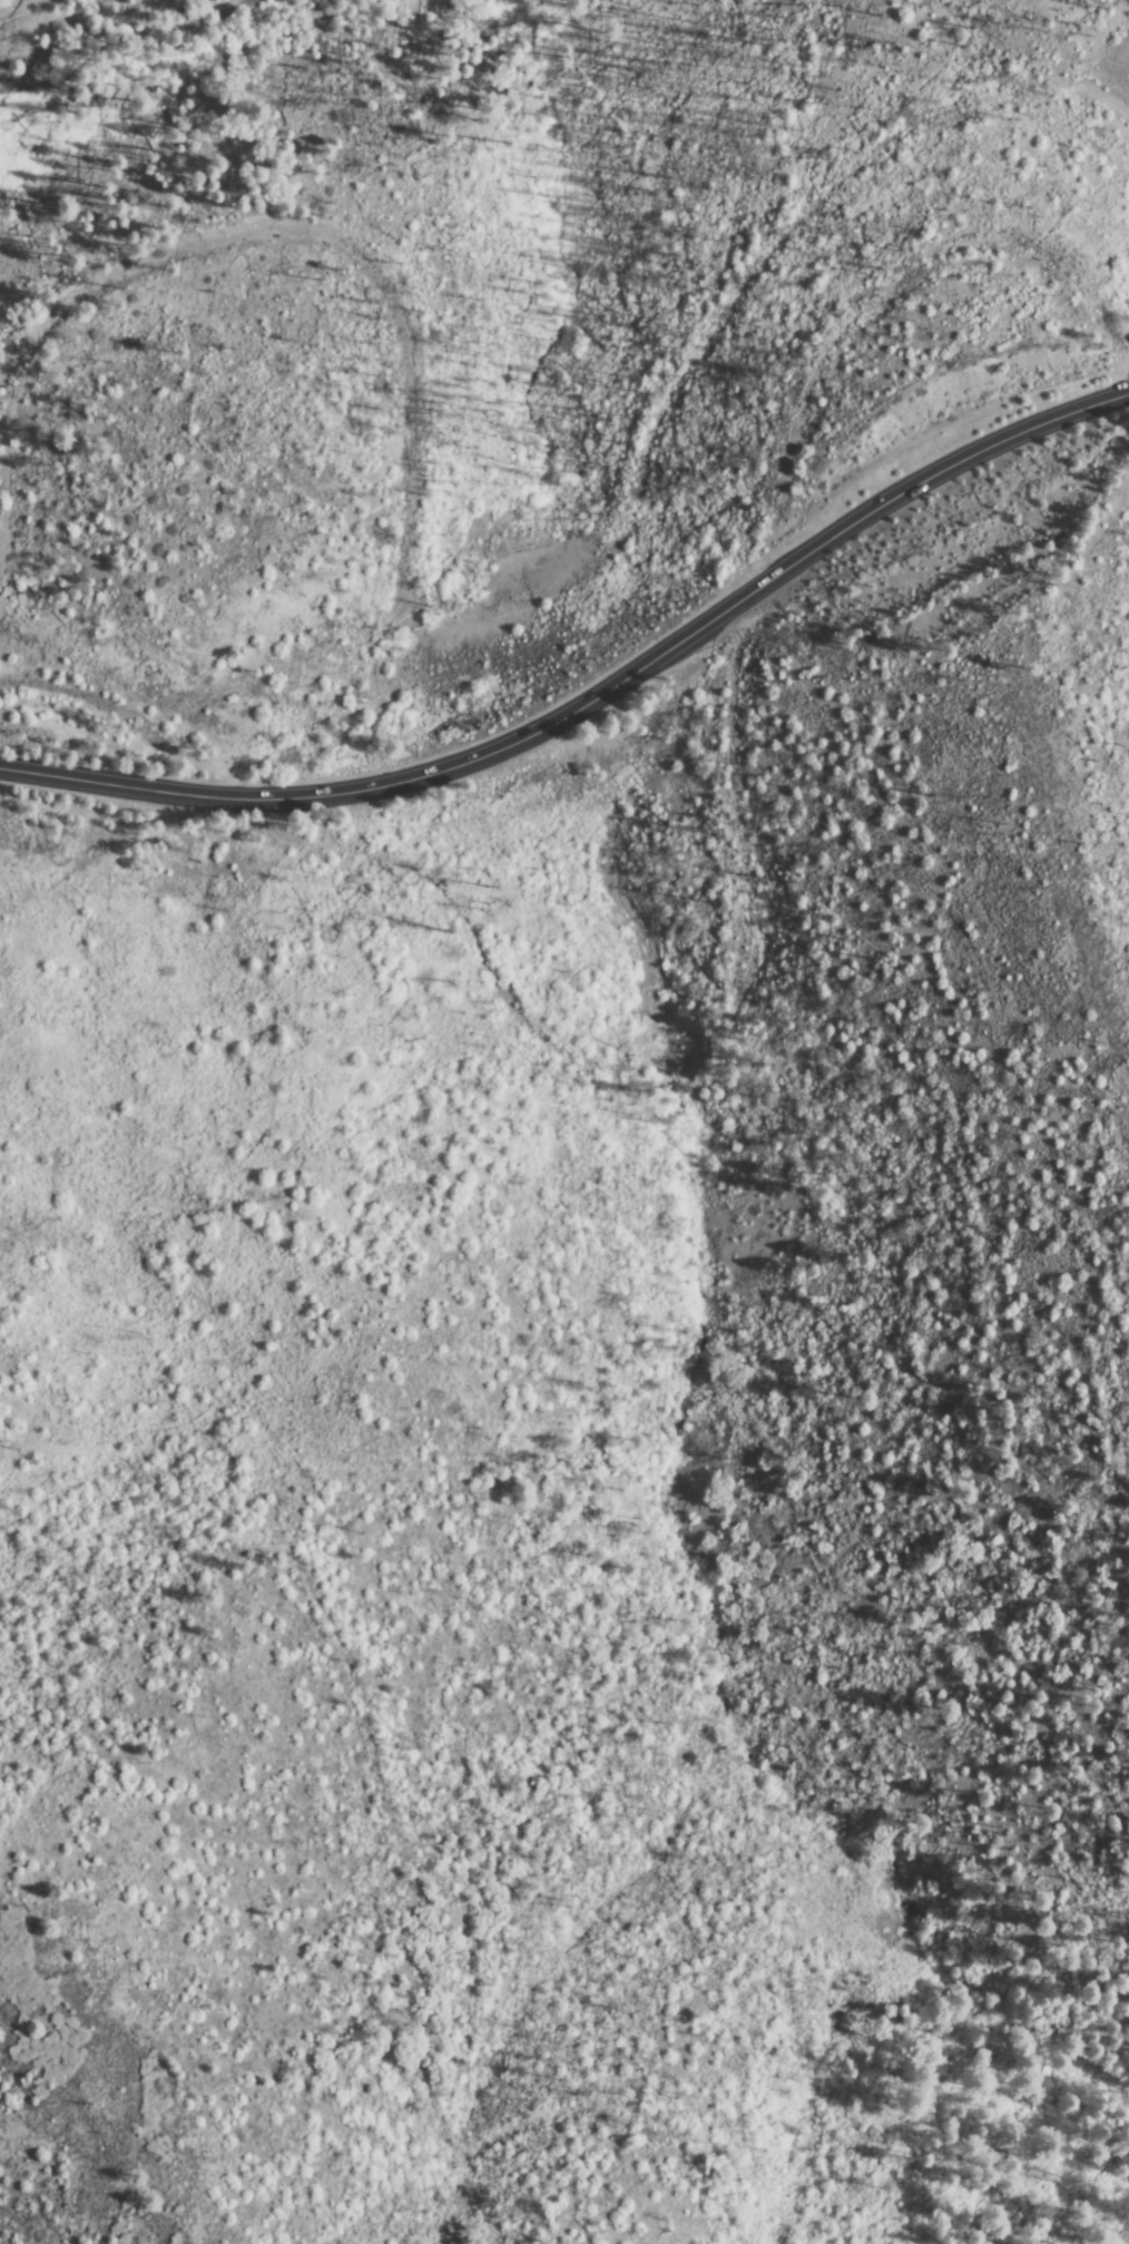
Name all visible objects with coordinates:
road: (120, 37)
road: (598, 699)

